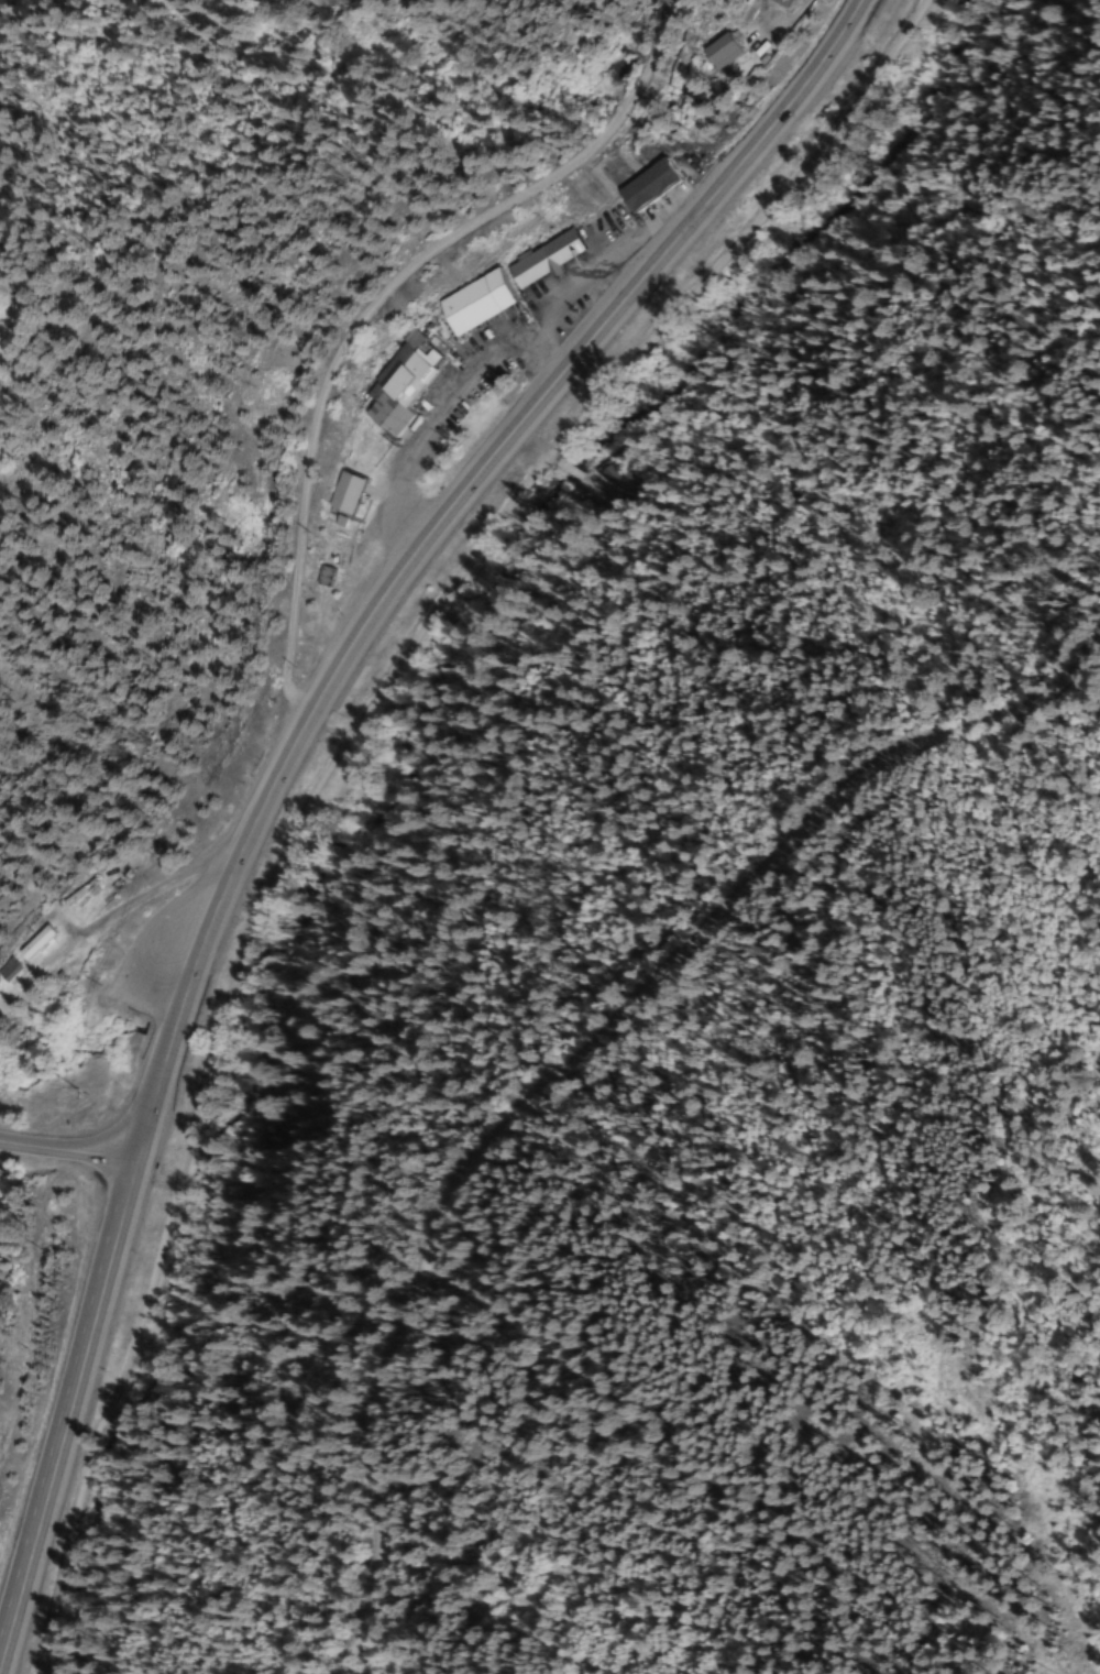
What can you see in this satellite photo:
building: (714, 52)
building: (540, 259)
building: (469, 303)
road: (349, 322)
building: (396, 383)
building: (614, 478)
building: (340, 493)
road: (432, 610)
road: (296, 768)
building: (75, 895)
building: (29, 944)
building: (4, 969)
road: (574, 1062)
road: (69, 1152)
road: (76, 1498)

